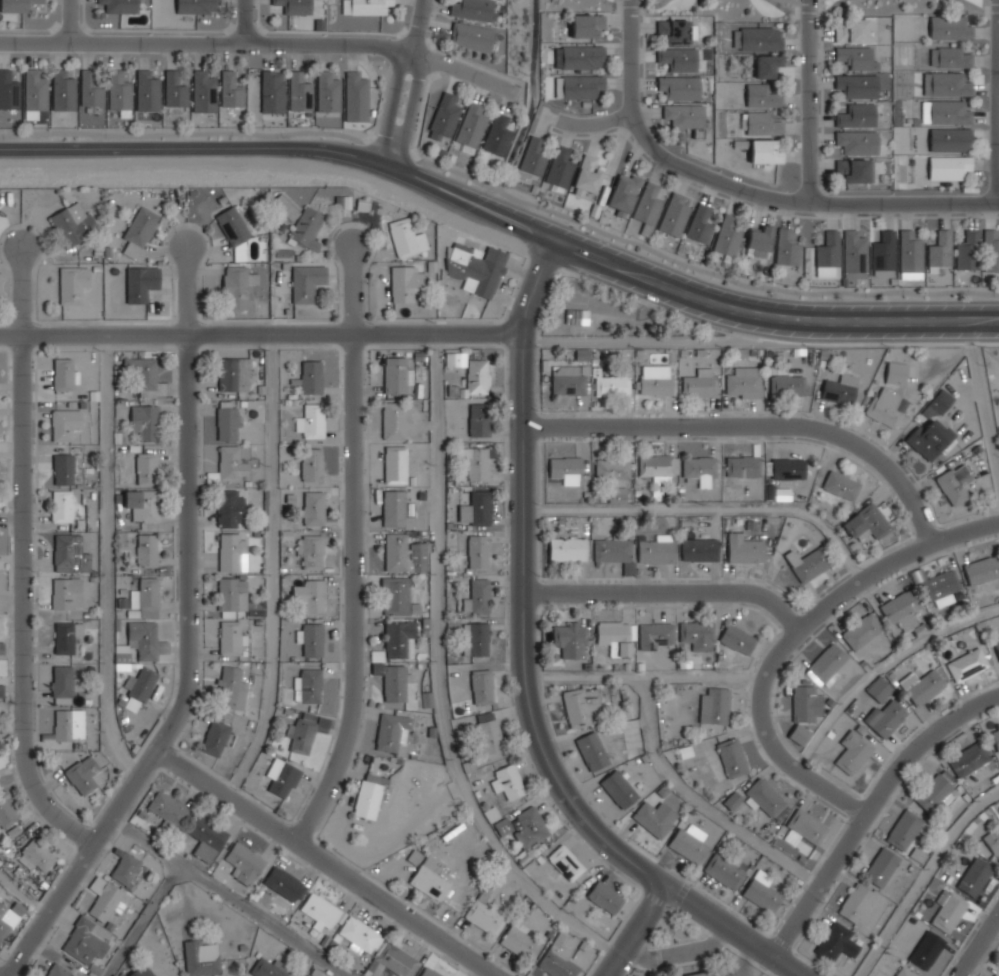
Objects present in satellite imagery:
building: (121, 5)
road: (636, 5)
building: (16, 6)
building: (295, 6)
building: (197, 7)
building: (372, 7)
road: (981, 8)
building: (473, 9)
road: (806, 11)
road: (71, 21)
road: (246, 22)
building: (585, 25)
building: (951, 28)
building: (674, 31)
building: (851, 31)
building: (472, 36)
building: (757, 38)
road: (254, 44)
building: (579, 55)
road: (629, 56)
building: (950, 57)
building: (856, 59)
building: (677, 60)
building: (767, 64)
road: (410, 85)
building: (578, 85)
building: (857, 85)
building: (946, 85)
building: (678, 88)
building: (91, 89)
building: (175, 89)
building: (230, 89)
building: (35, 90)
building: (63, 90)
building: (272, 90)
building: (9, 91)
building: (148, 91)
building: (203, 91)
building: (300, 92)
building: (328, 92)
building: (356, 92)
building: (119, 93)
building: (761, 95)
road: (807, 100)
road: (998, 106)
road: (528, 111)
building: (949, 113)
building: (856, 115)
building: (444, 116)
building: (684, 116)
road: (595, 120)
building: (762, 122)
building: (471, 126)
building: (497, 135)
building: (950, 140)
building: (857, 142)
building: (764, 151)
building: (534, 156)
building: (948, 166)
building: (560, 167)
building: (855, 169)
building: (587, 176)
road: (503, 191)
building: (623, 192)
road: (799, 198)
building: (342, 202)
building: (285, 207)
building: (647, 207)
building: (674, 214)
building: (73, 222)
road: (503, 223)
building: (700, 223)
building: (233, 226)
building: (307, 228)
building: (139, 230)
building: (727, 236)
building: (407, 238)
building: (759, 241)
building: (787, 247)
building: (828, 249)
building: (940, 250)
building: (968, 251)
building: (991, 251)
building: (883, 253)
building: (854, 254)
building: (910, 255)
building: (477, 267)
building: (307, 282)
building: (72, 283)
building: (141, 283)
building: (405, 283)
building: (237, 286)
road: (187, 288)
road: (353, 288)
road: (24, 291)
building: (577, 316)
road: (654, 328)
road: (260, 331)
building: (455, 359)
building: (896, 372)
building: (143, 373)
building: (63, 374)
building: (233, 375)
building: (394, 375)
building: (311, 376)
building: (477, 376)
building: (654, 380)
building: (743, 381)
building: (698, 382)
building: (569, 383)
building: (787, 384)
building: (611, 385)
building: (838, 389)
building: (887, 406)
road: (984, 409)
building: (478, 420)
building: (145, 421)
building: (311, 421)
building: (392, 421)
building: (64, 423)
building: (228, 423)
road: (756, 424)
building: (932, 428)
building: (231, 463)
building: (474, 463)
building: (312, 464)
building: (394, 465)
building: (742, 465)
building: (656, 466)
building: (787, 467)
building: (63, 468)
building: (146, 468)
building: (567, 469)
building: (613, 469)
building: (700, 470)
building: (955, 483)
building: (841, 484)
building: (142, 503)
building: (61, 505)
building: (314, 507)
building: (227, 508)
building: (393, 508)
building: (475, 509)
road: (707, 509)
building: (867, 521)
building: (567, 548)
building: (146, 549)
building: (612, 549)
building: (699, 549)
building: (658, 550)
building: (310, 551)
building: (477, 551)
building: (745, 551)
building: (232, 552)
building: (69, 553)
building: (403, 554)
road: (106, 557)
building: (808, 563)
road: (271, 567)
building: (982, 569)
building: (940, 587)
building: (229, 591)
road: (668, 591)
road: (355, 592)
building: (67, 593)
building: (311, 595)
building: (395, 596)
building: (477, 596)
building: (145, 598)
road: (24, 601)
building: (901, 608)
building: (862, 630)
building: (654, 634)
building: (697, 634)
road: (793, 635)
building: (65, 636)
building: (617, 636)
building: (231, 637)
building: (311, 638)
building: (397, 638)
building: (570, 638)
building: (737, 638)
building: (145, 639)
building: (475, 639)
building: (996, 642)
building: (827, 663)
building: (967, 664)
road: (881, 666)
road: (525, 670)
road: (647, 673)
road: (434, 676)
road: (189, 680)
building: (391, 682)
building: (63, 683)
building: (140, 684)
building: (308, 686)
building: (922, 686)
building: (230, 687)
building: (481, 687)
building: (880, 689)
building: (806, 703)
building: (580, 705)
building: (715, 705)
building: (885, 718)
building: (68, 724)
building: (306, 731)
building: (390, 731)
building: (488, 733)
building: (798, 734)
building: (215, 738)
building: (996, 739)
building: (592, 750)
building: (855, 752)
building: (732, 756)
building: (967, 759)
building: (82, 775)
building: (282, 776)
building: (507, 782)
building: (619, 788)
building: (933, 794)
building: (368, 796)
building: (765, 796)
building: (732, 799)
road: (698, 801)
building: (165, 809)
road: (869, 809)
building: (6, 812)
building: (655, 817)
building: (523, 826)
building: (803, 827)
building: (903, 830)
building: (206, 838)
building: (992, 840)
building: (688, 845)
building: (36, 855)
road: (328, 863)
building: (565, 863)
building: (243, 864)
building: (881, 867)
building: (125, 869)
building: (725, 871)
road: (924, 877)
building: (974, 877)
building: (429, 878)
building: (284, 884)
road: (23, 893)
building: (762, 894)
road: (228, 897)
building: (604, 897)
building: (103, 898)
building: (855, 903)
building: (948, 910)
building: (320, 911)
building: (483, 916)
road: (139, 918)
building: (6, 919)
road: (635, 930)
building: (359, 935)
building: (83, 942)
building: (835, 942)
building: (519, 943)
road: (979, 945)
building: (926, 950)
road: (679, 954)
building: (558, 957)
building: (199, 961)
building: (391, 962)
building: (264, 969)
building: (57, 970)
building: (141, 971)
building: (428, 972)
building: (710, 972)
building: (904, 972)
building: (994, 975)

